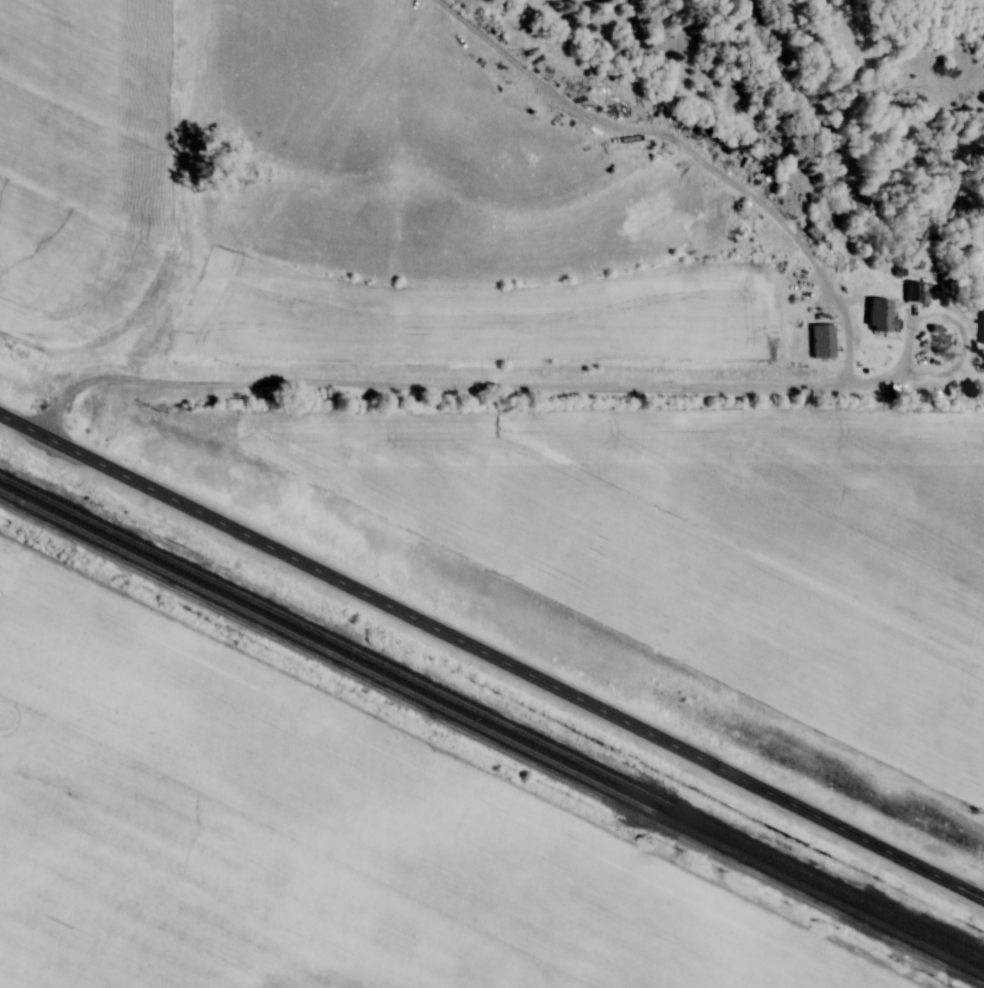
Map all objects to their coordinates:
building: (912, 292)
building: (878, 315)
building: (981, 328)
building: (821, 341)
road: (462, 389)
road: (491, 661)
railway: (492, 716)
railway: (491, 733)

